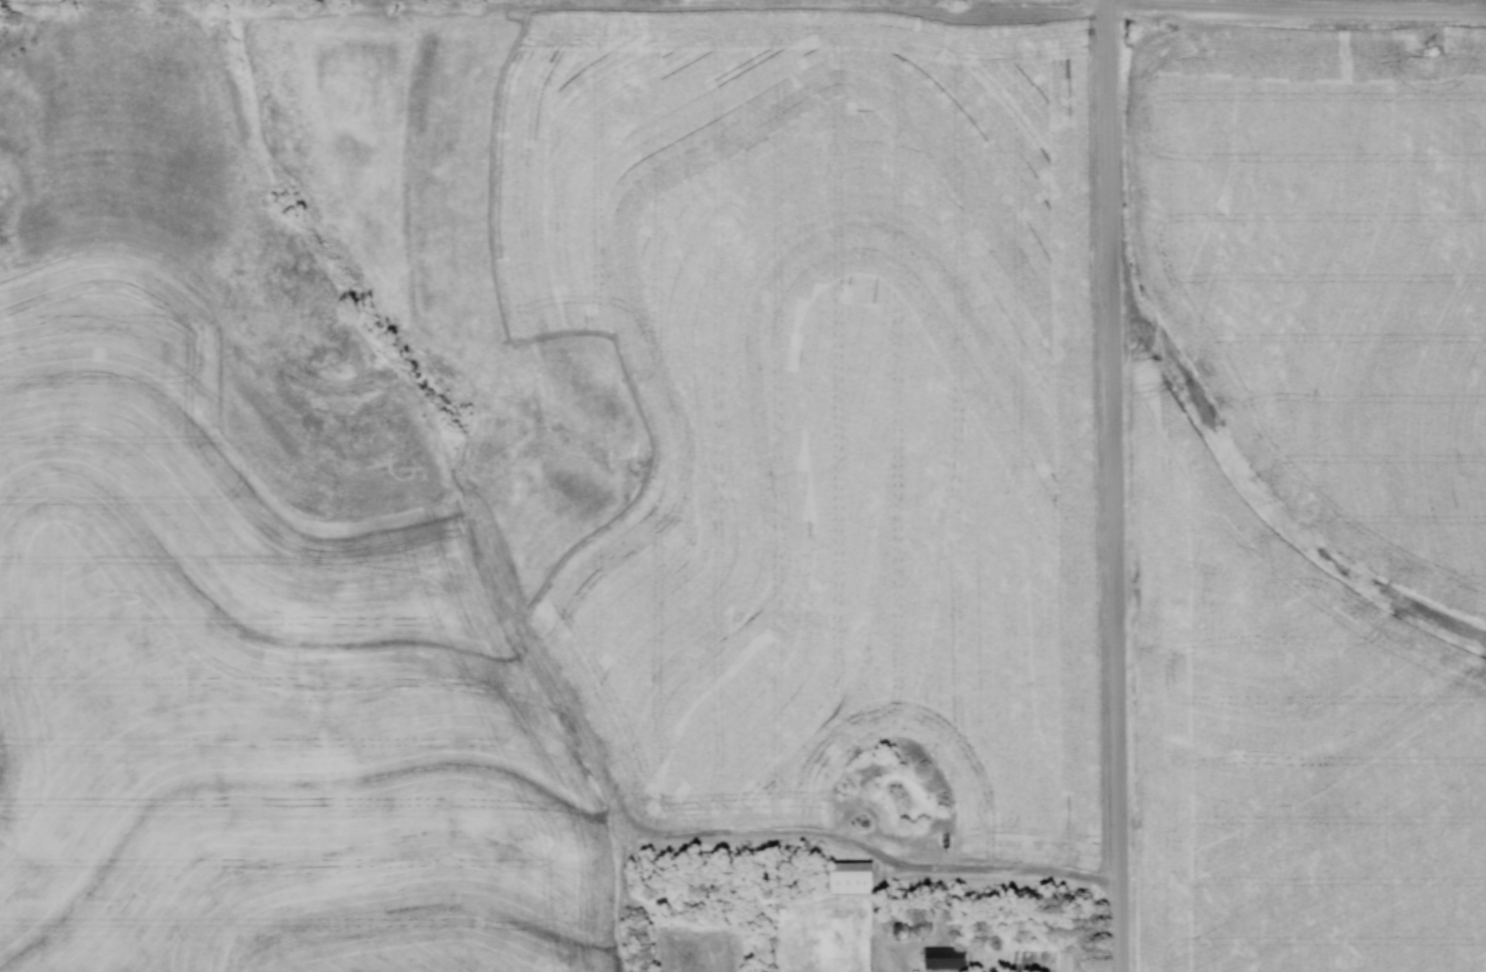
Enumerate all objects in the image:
road: (1298, 10)
power tower: (1431, 48)
road: (1117, 485)
building: (847, 876)
building: (908, 927)
building: (942, 956)

